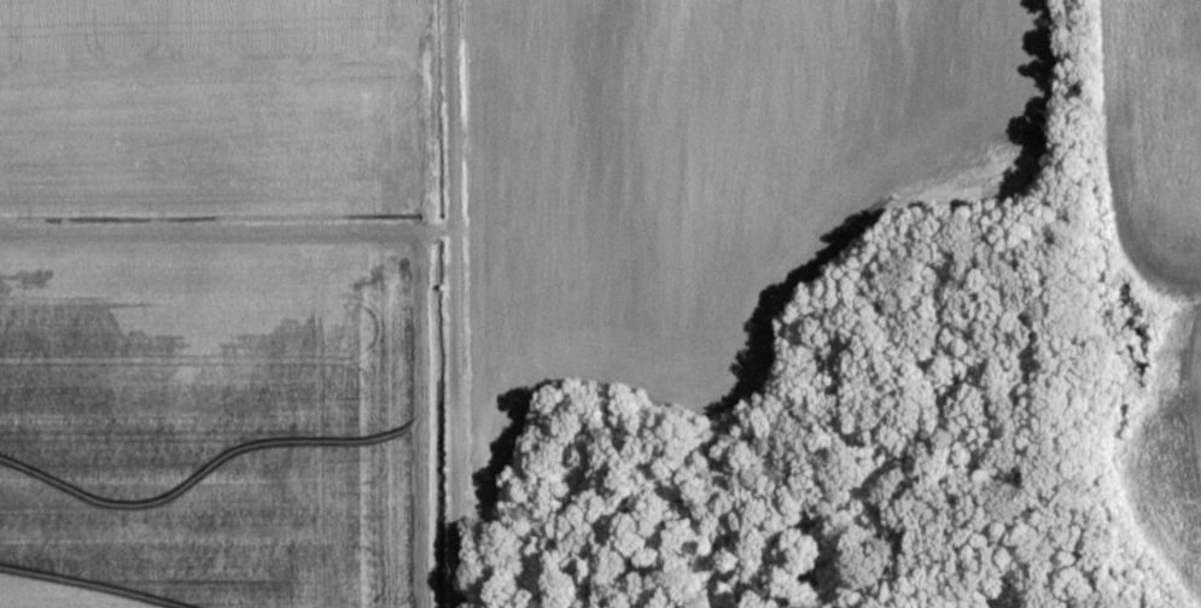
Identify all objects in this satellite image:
road: (225, 232)
road: (453, 304)

